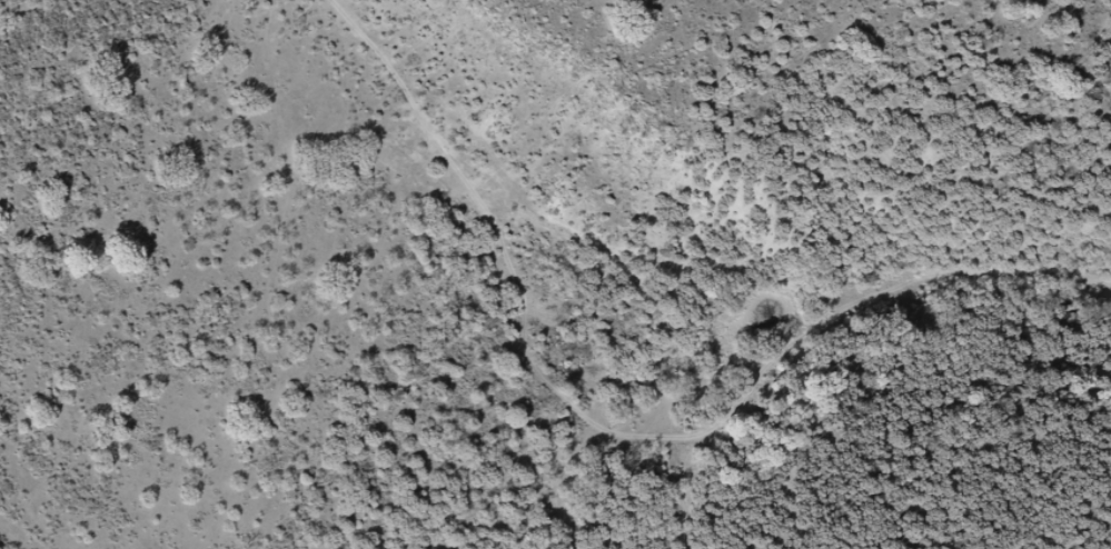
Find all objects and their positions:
road: (680, 382)

